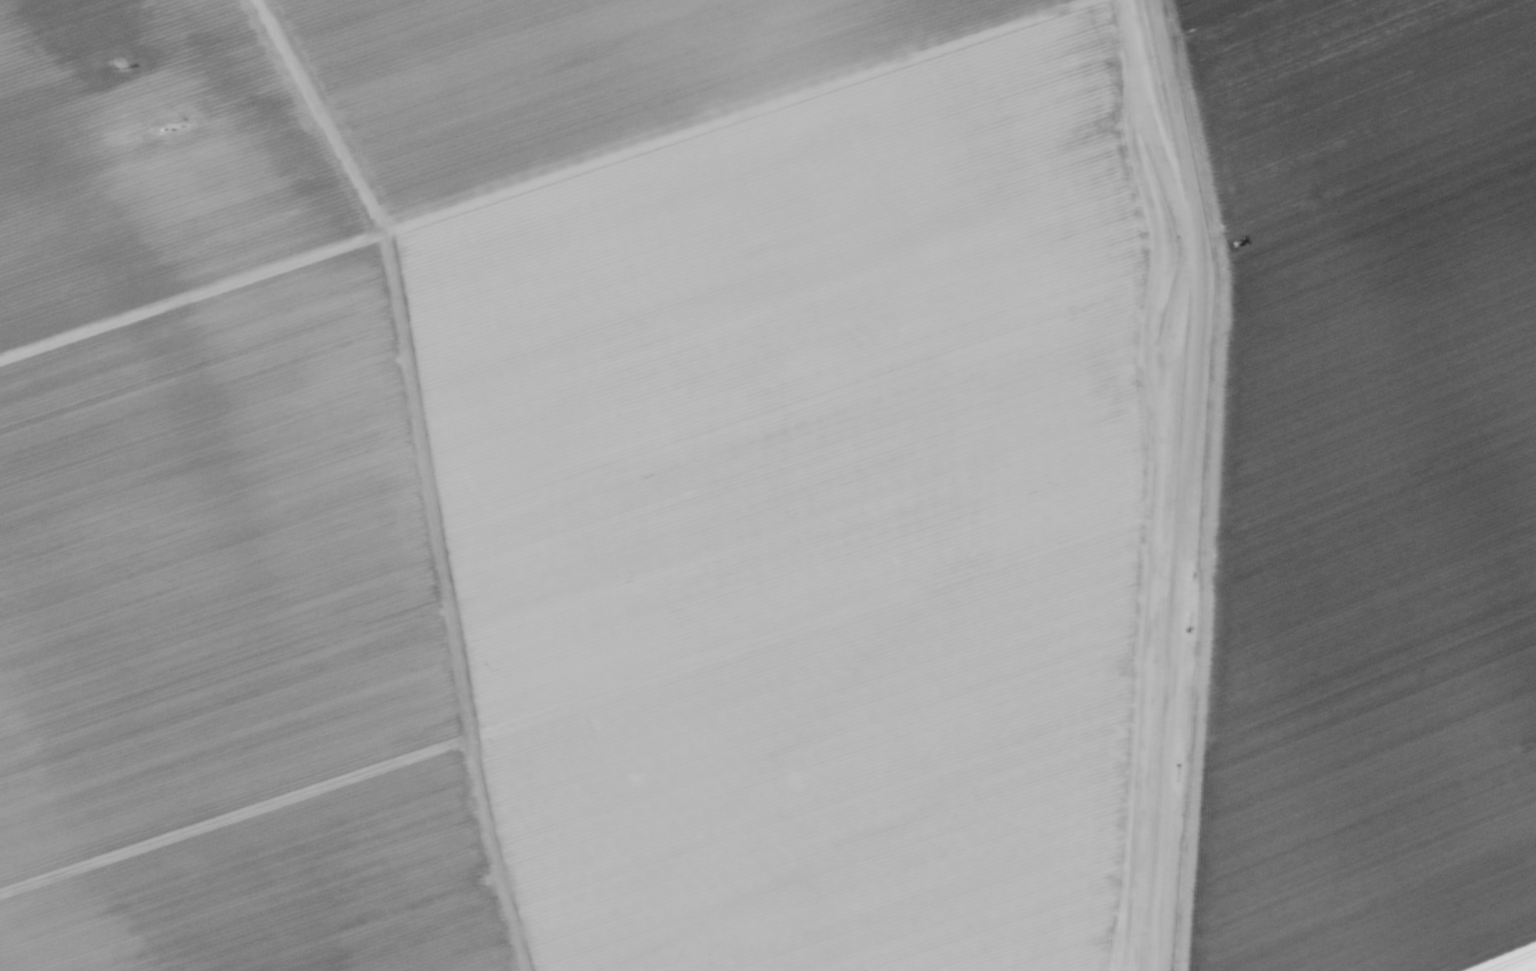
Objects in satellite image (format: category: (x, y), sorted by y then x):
road: (84, 23)
road: (1174, 484)
crop: (768, 485)

